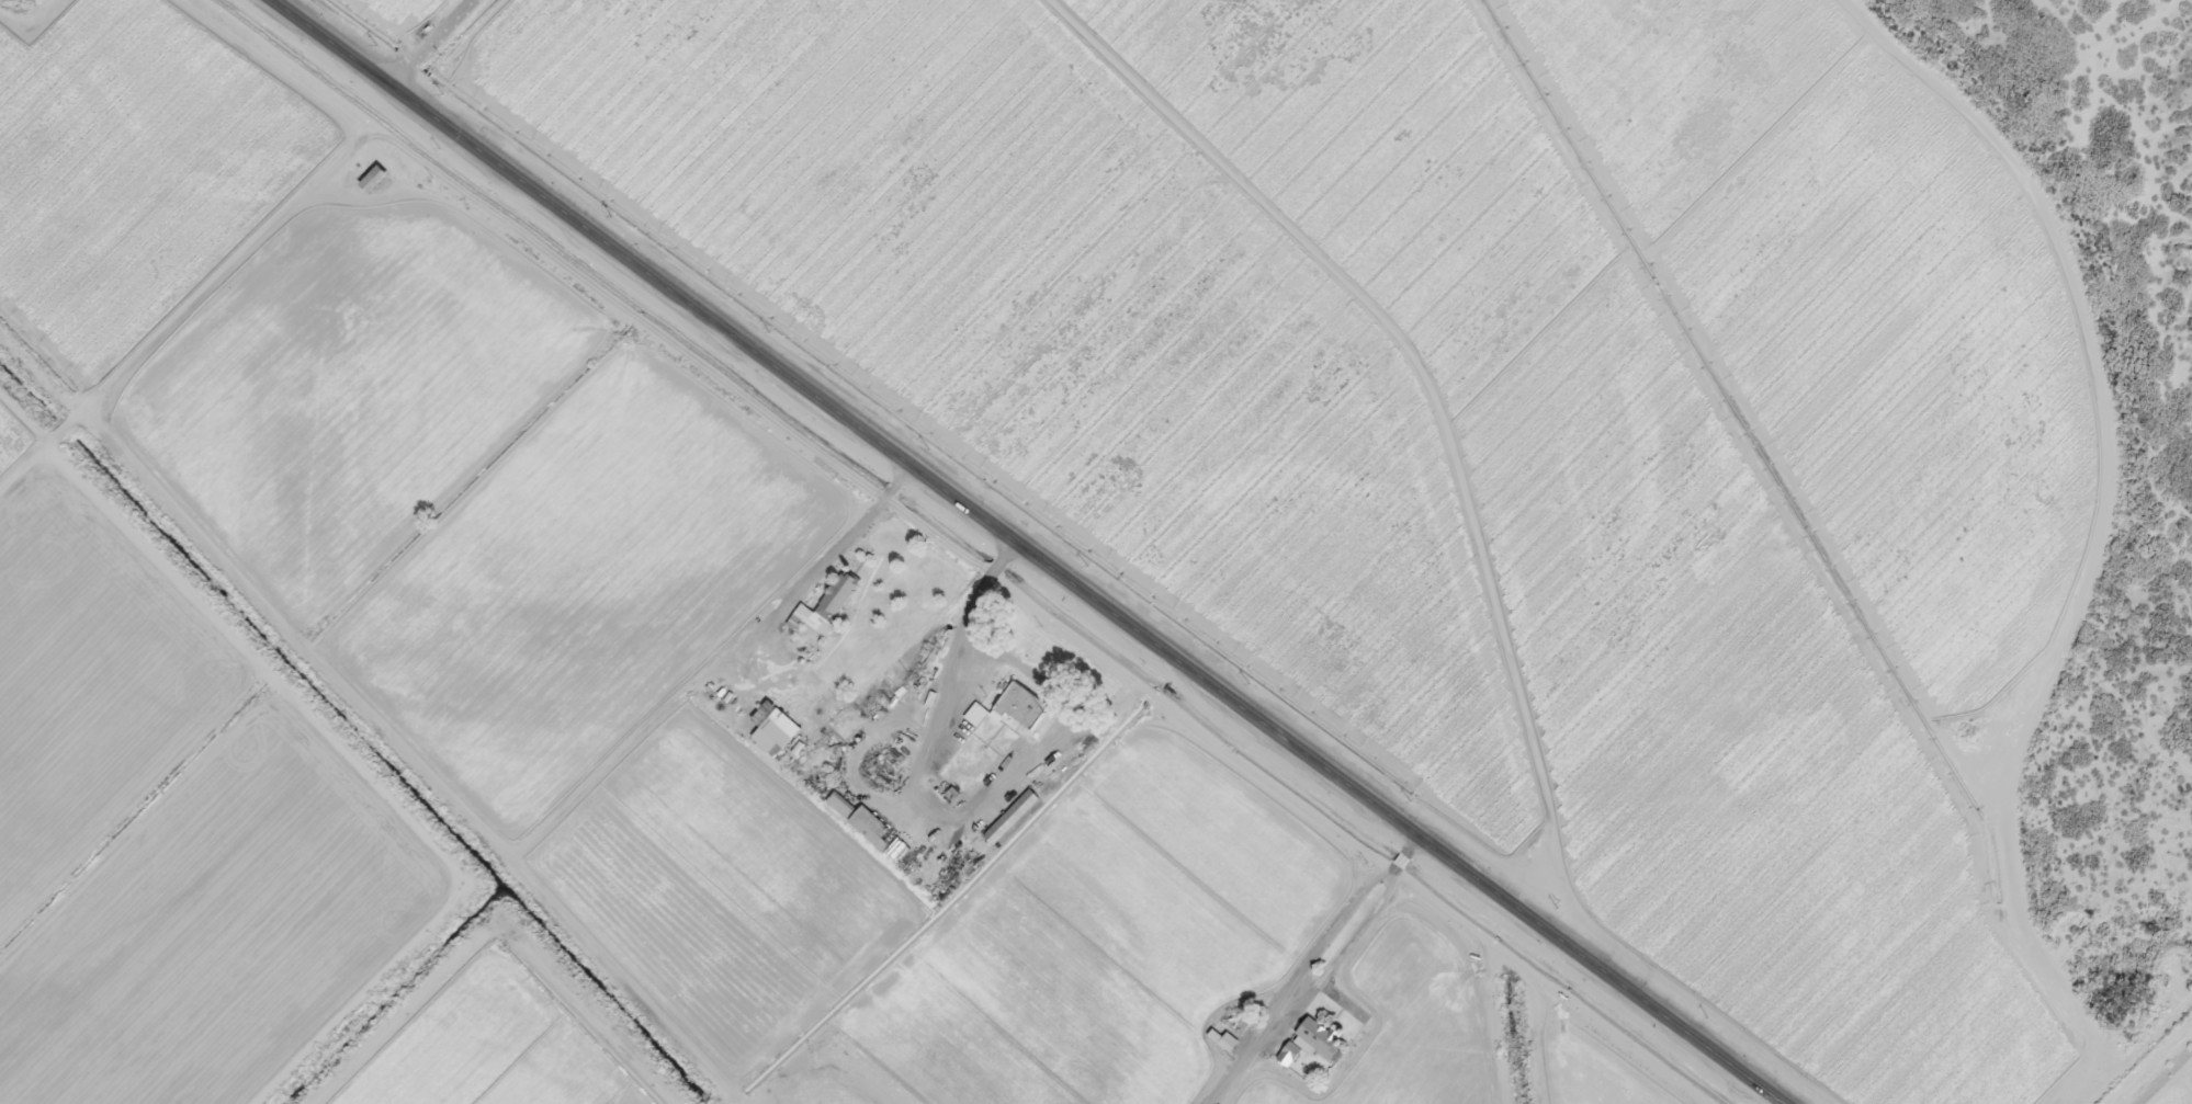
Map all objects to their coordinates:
road: (432, 45)
road: (196, 317)
road: (22, 474)
road: (1019, 554)
building: (1016, 699)
building: (976, 712)
building: (776, 730)
road: (1347, 981)
road: (524, 1002)
building: (1314, 1035)

